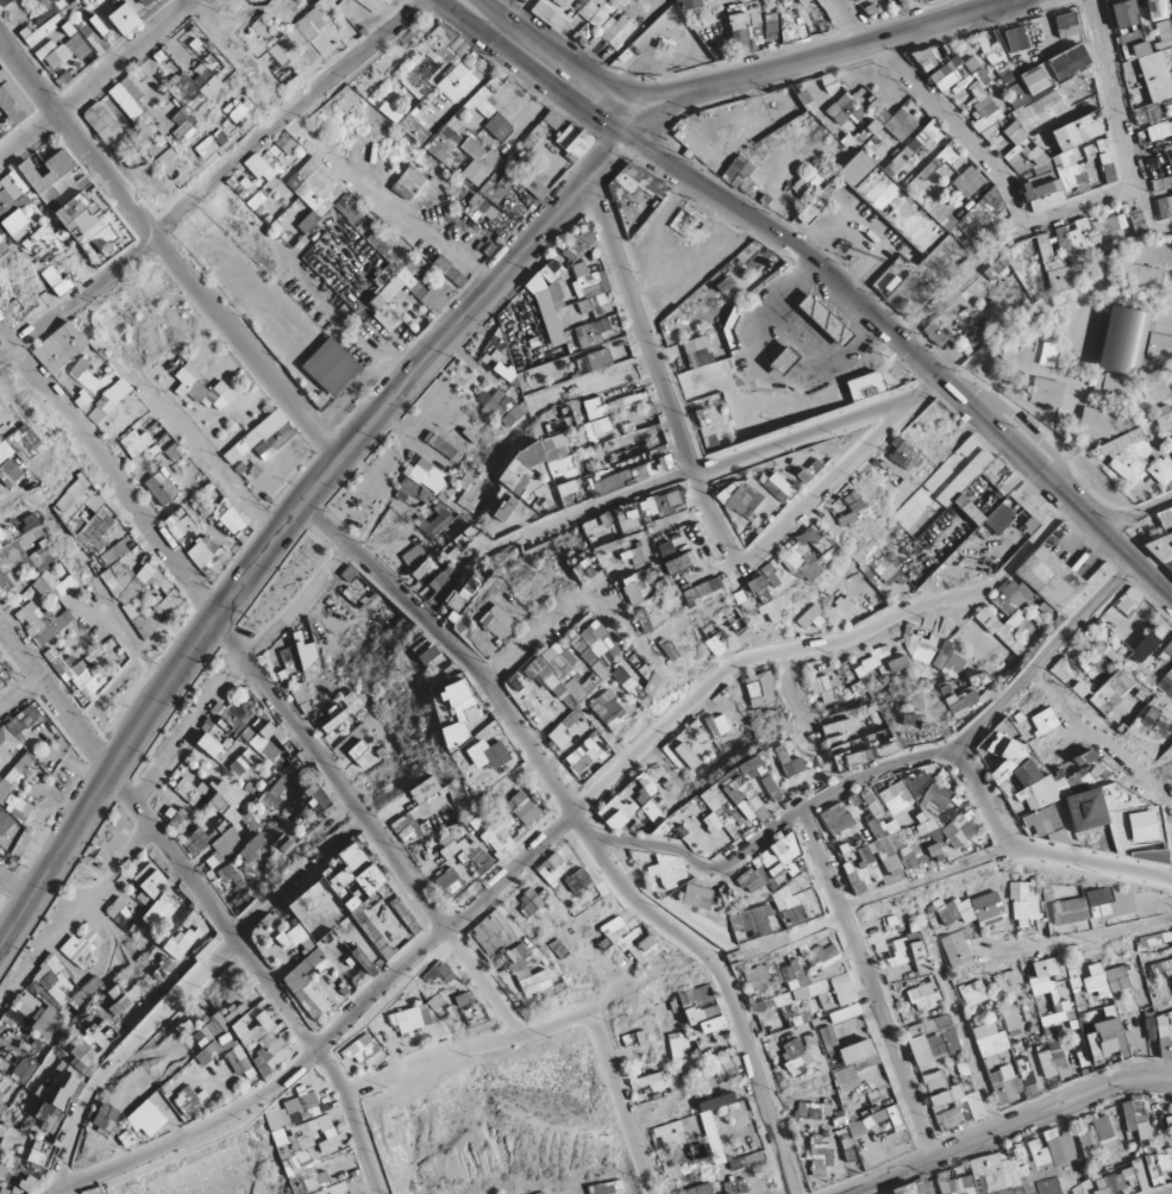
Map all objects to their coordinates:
road: (668, 35)
road: (560, 54)
road: (815, 54)
building: (459, 80)
building: (1045, 105)
road: (933, 106)
road: (1115, 112)
building: (891, 133)
road: (214, 181)
road: (1160, 224)
road: (856, 232)
road: (1003, 236)
road: (438, 244)
road: (827, 270)
building: (550, 314)
road: (794, 339)
building: (1123, 340)
road: (650, 371)
road: (1027, 432)
road: (702, 464)
road: (835, 467)
road: (297, 510)
road: (1137, 517)
road: (782, 688)
road: (1101, 733)
road: (877, 759)
building: (896, 792)
road: (978, 794)
road: (552, 826)
building: (880, 849)
road: (936, 868)
building: (1023, 892)
building: (1068, 905)
road: (1096, 937)
building: (535, 970)
building: (979, 987)
building: (1160, 989)
building: (1011, 1025)
building: (1057, 1026)
building: (928, 1033)
building: (858, 1082)
road: (1005, 1126)
building: (1126, 1131)
building: (821, 1170)
building: (1008, 1171)
building: (687, 1176)

